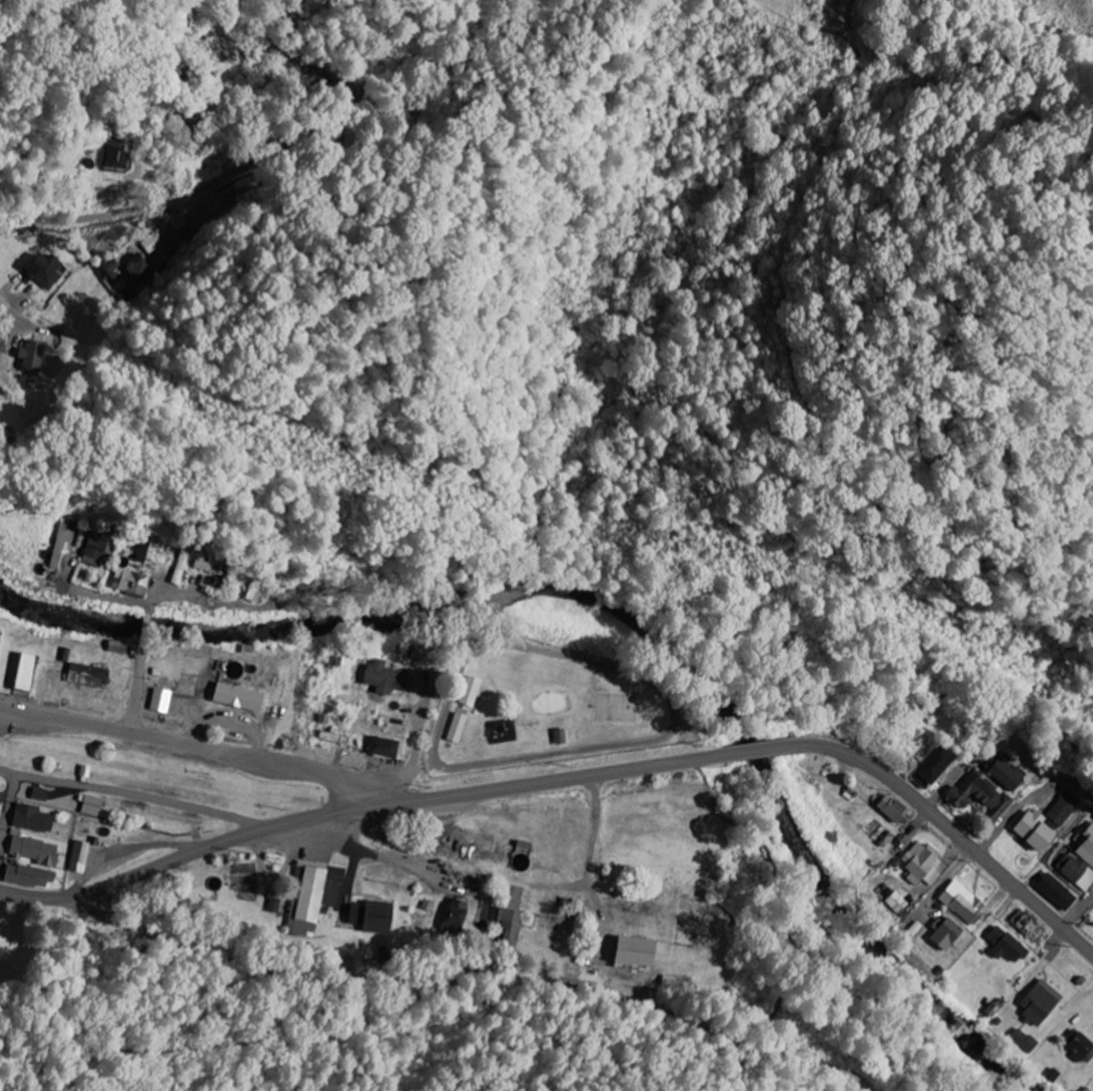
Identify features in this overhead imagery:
building: (114, 155)
road: (135, 211)
building: (164, 255)
building: (42, 270)
building: (129, 271)
road: (0, 297)
building: (29, 356)
building: (105, 524)
building: (61, 544)
building: (93, 547)
building: (141, 553)
road: (145, 625)
building: (22, 673)
building: (85, 675)
building: (382, 677)
road: (42, 690)
building: (468, 692)
building: (233, 697)
park: (542, 710)
building: (455, 728)
road: (200, 745)
building: (380, 747)
building: (931, 762)
building: (1005, 773)
road: (575, 777)
road: (954, 777)
road: (134, 796)
building: (978, 796)
building: (89, 805)
building: (891, 809)
building: (1062, 809)
road: (11, 816)
building: (29, 819)
road: (911, 826)
road: (1001, 829)
building: (1031, 829)
road: (364, 847)
building: (33, 850)
building: (78, 857)
building: (1081, 861)
building: (919, 863)
building: (26, 876)
road: (954, 884)
building: (1054, 891)
building: (314, 897)
building: (894, 901)
building: (959, 901)
road: (1079, 914)
building: (455, 915)
building: (370, 916)
building: (509, 927)
building: (943, 934)
road: (1054, 941)
building: (1003, 944)
building: (631, 951)
road: (476, 971)
building: (681, 984)
building: (1035, 1002)
building: (1021, 1040)
building: (1079, 1048)

